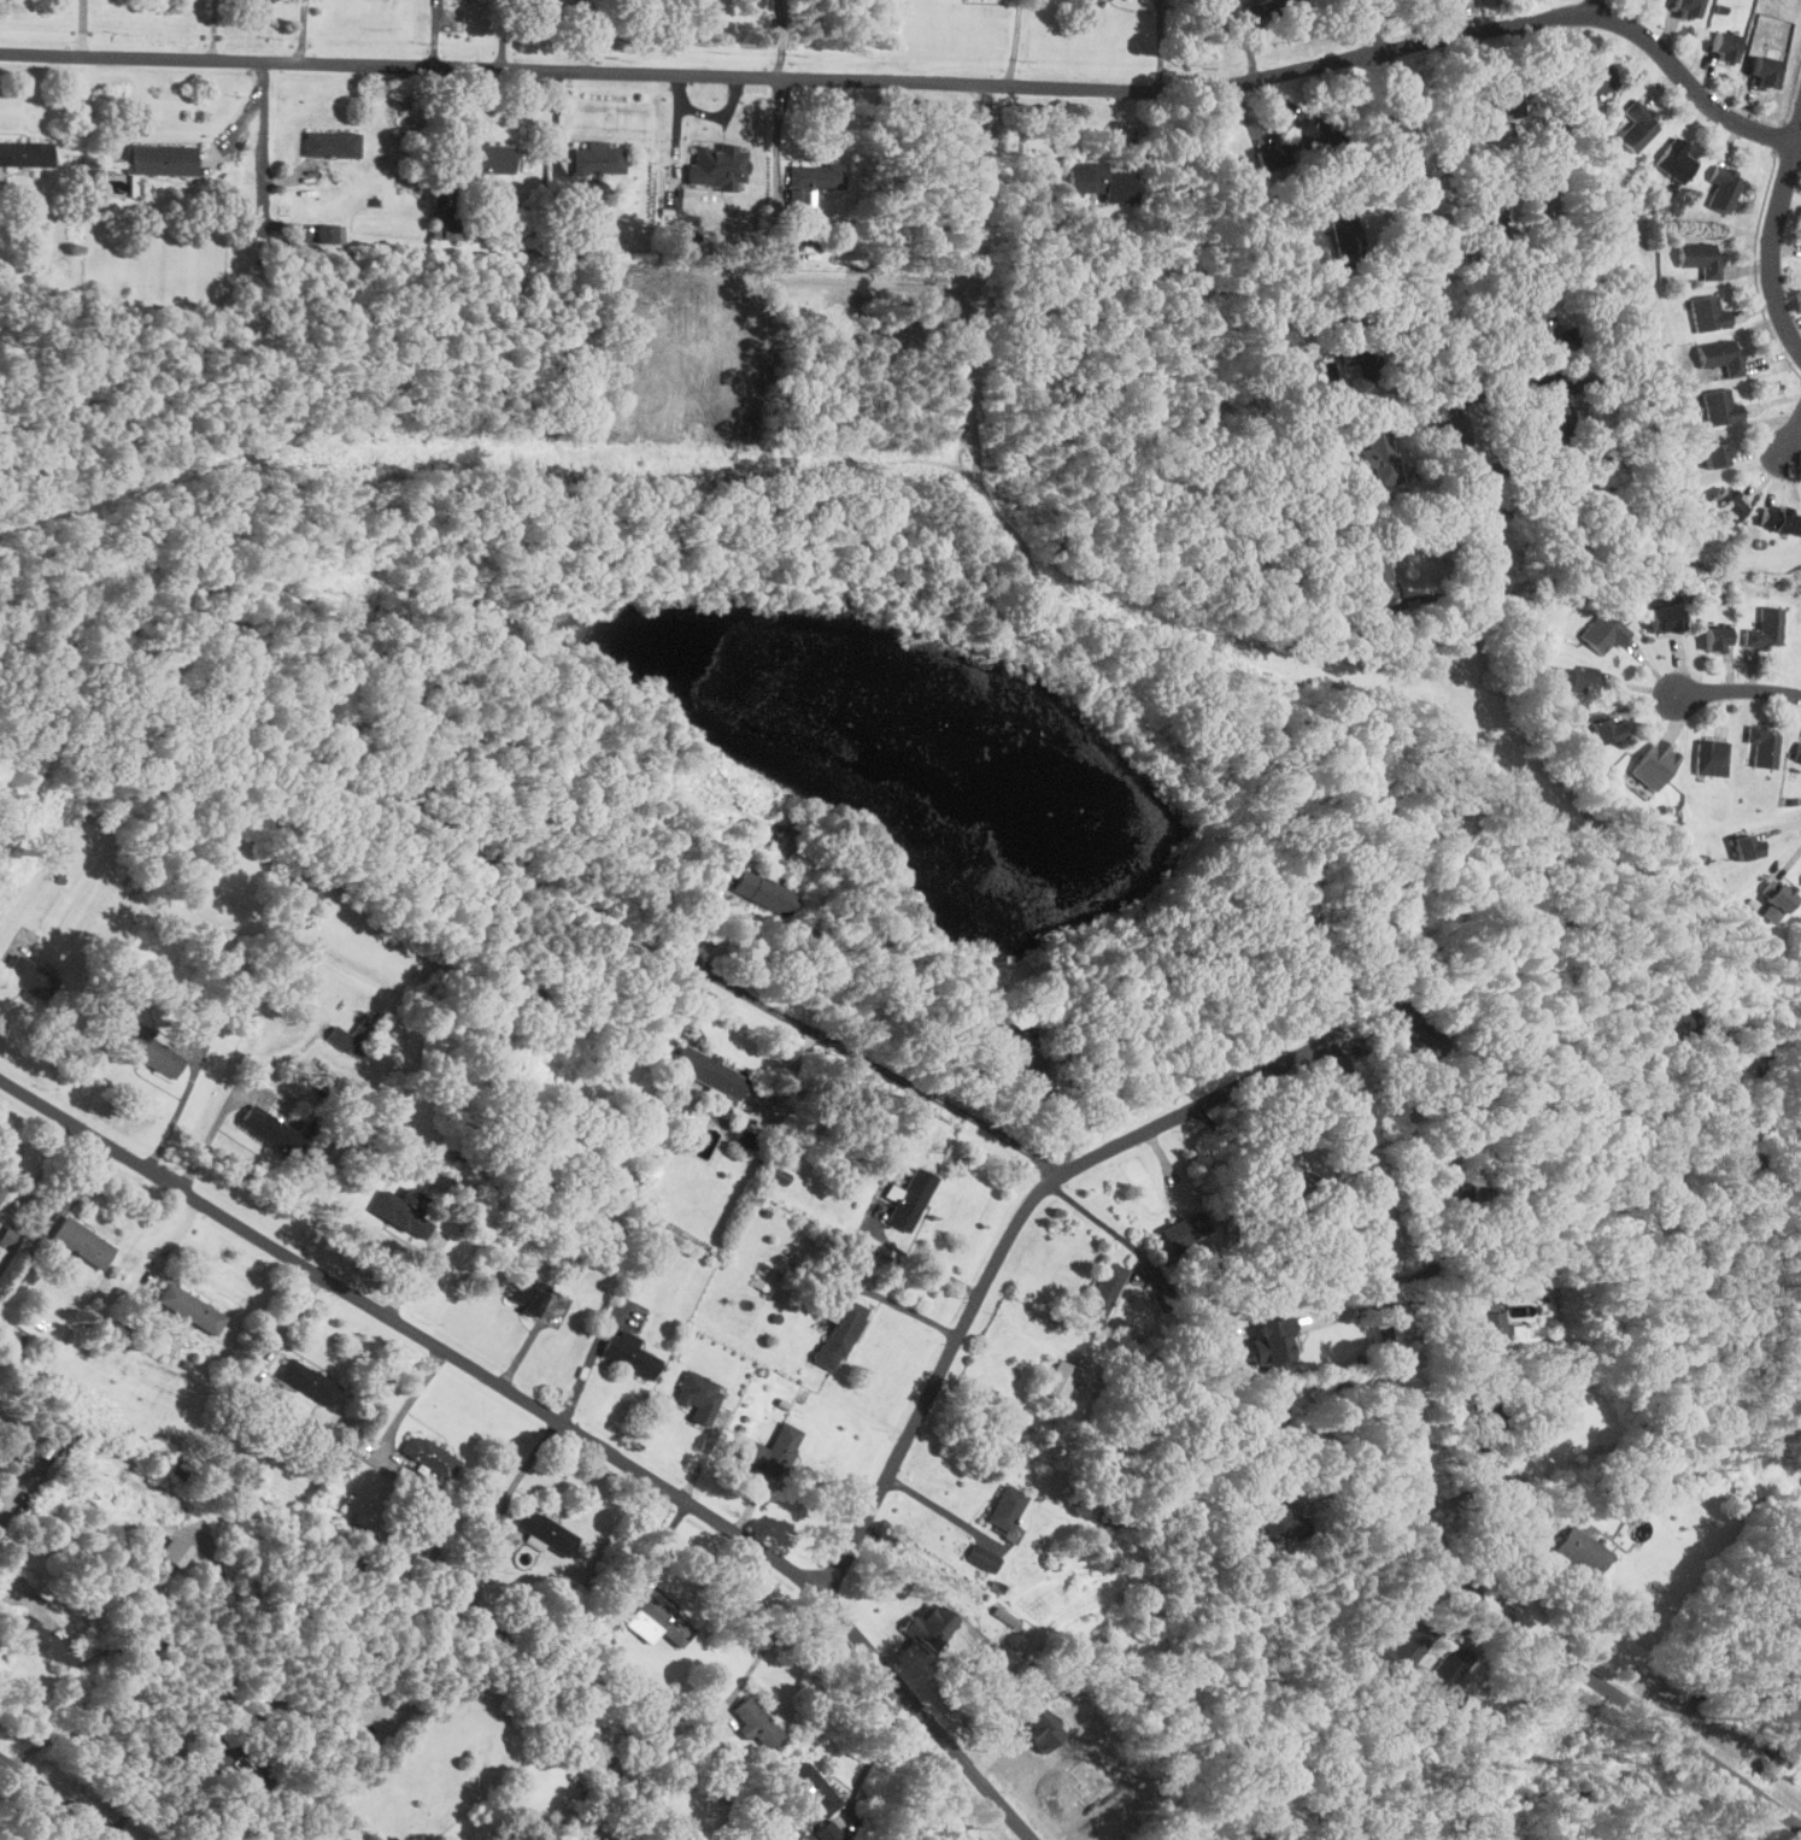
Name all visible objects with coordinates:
building: (1686, 6)
road: (1594, 7)
building: (1267, 8)
road: (1605, 16)
road: (1374, 25)
road: (776, 39)
road: (1015, 43)
building: (1724, 45)
building: (1765, 70)
road: (692, 75)
building: (1592, 77)
building: (1501, 105)
building: (1638, 125)
building: (1312, 131)
road: (262, 140)
building: (330, 143)
building: (25, 152)
building: (1273, 154)
building: (481, 158)
building: (598, 158)
building: (160, 159)
building: (1676, 160)
building: (716, 166)
building: (815, 175)
building: (1085, 177)
building: (1724, 187)
building: (1490, 211)
building: (445, 227)
building: (330, 233)
road: (1776, 234)
building: (1347, 240)
building: (1701, 257)
building: (1709, 313)
building: (1542, 321)
road: (1438, 323)
building: (1723, 354)
building: (1365, 355)
building: (1332, 371)
building: (1551, 404)
building: (1720, 406)
road: (1794, 437)
building: (1717, 453)
building: (1379, 454)
building: (1726, 502)
building: (1779, 517)
building: (1375, 577)
building: (1665, 617)
building: (1765, 628)
building: (1605, 630)
building: (1718, 637)
building: (1570, 678)
road: (1738, 686)
building: (1606, 728)
building: (1762, 745)
building: (1797, 751)
building: (1711, 757)
building: (1655, 763)
building: (1746, 846)
building: (764, 892)
building: (1781, 893)
building: (30, 977)
building: (1672, 1019)
building: (1002, 1030)
building: (357, 1034)
building: (1416, 1041)
building: (153, 1054)
building: (1032, 1060)
road: (873, 1064)
building: (709, 1072)
building: (270, 1130)
building: (1740, 1165)
building: (1296, 1178)
building: (1468, 1182)
building: (1, 1191)
building: (911, 1199)
building: (403, 1211)
building: (82, 1241)
building: (6, 1242)
road: (1001, 1250)
building: (765, 1278)
building: (1102, 1294)
building: (527, 1295)
road: (1448, 1298)
road: (903, 1306)
building: (190, 1309)
building: (1489, 1323)
building: (840, 1333)
building: (1273, 1344)
building: (628, 1353)
road: (587, 1364)
building: (307, 1381)
building: (1058, 1381)
road: (1338, 1382)
building: (698, 1397)
road: (409, 1401)
building: (1489, 1417)
road: (550, 1418)
building: (770, 1450)
building: (428, 1456)
building: (178, 1469)
road: (1345, 1471)
building: (1004, 1507)
building: (1274, 1513)
building: (1107, 1515)
road: (1425, 1522)
building: (1297, 1524)
building: (544, 1533)
building: (172, 1551)
building: (1580, 1551)
building: (981, 1557)
road: (12, 1592)
building: (657, 1623)
building: (929, 1626)
road: (775, 1633)
building: (47, 1641)
building: (756, 1723)
road: (875, 1750)
road: (149, 1788)
building: (811, 1792)
road: (57, 1799)
building: (828, 1830)
building: (1228, 1834)
building: (389, 1838)
building: (392, 1838)

